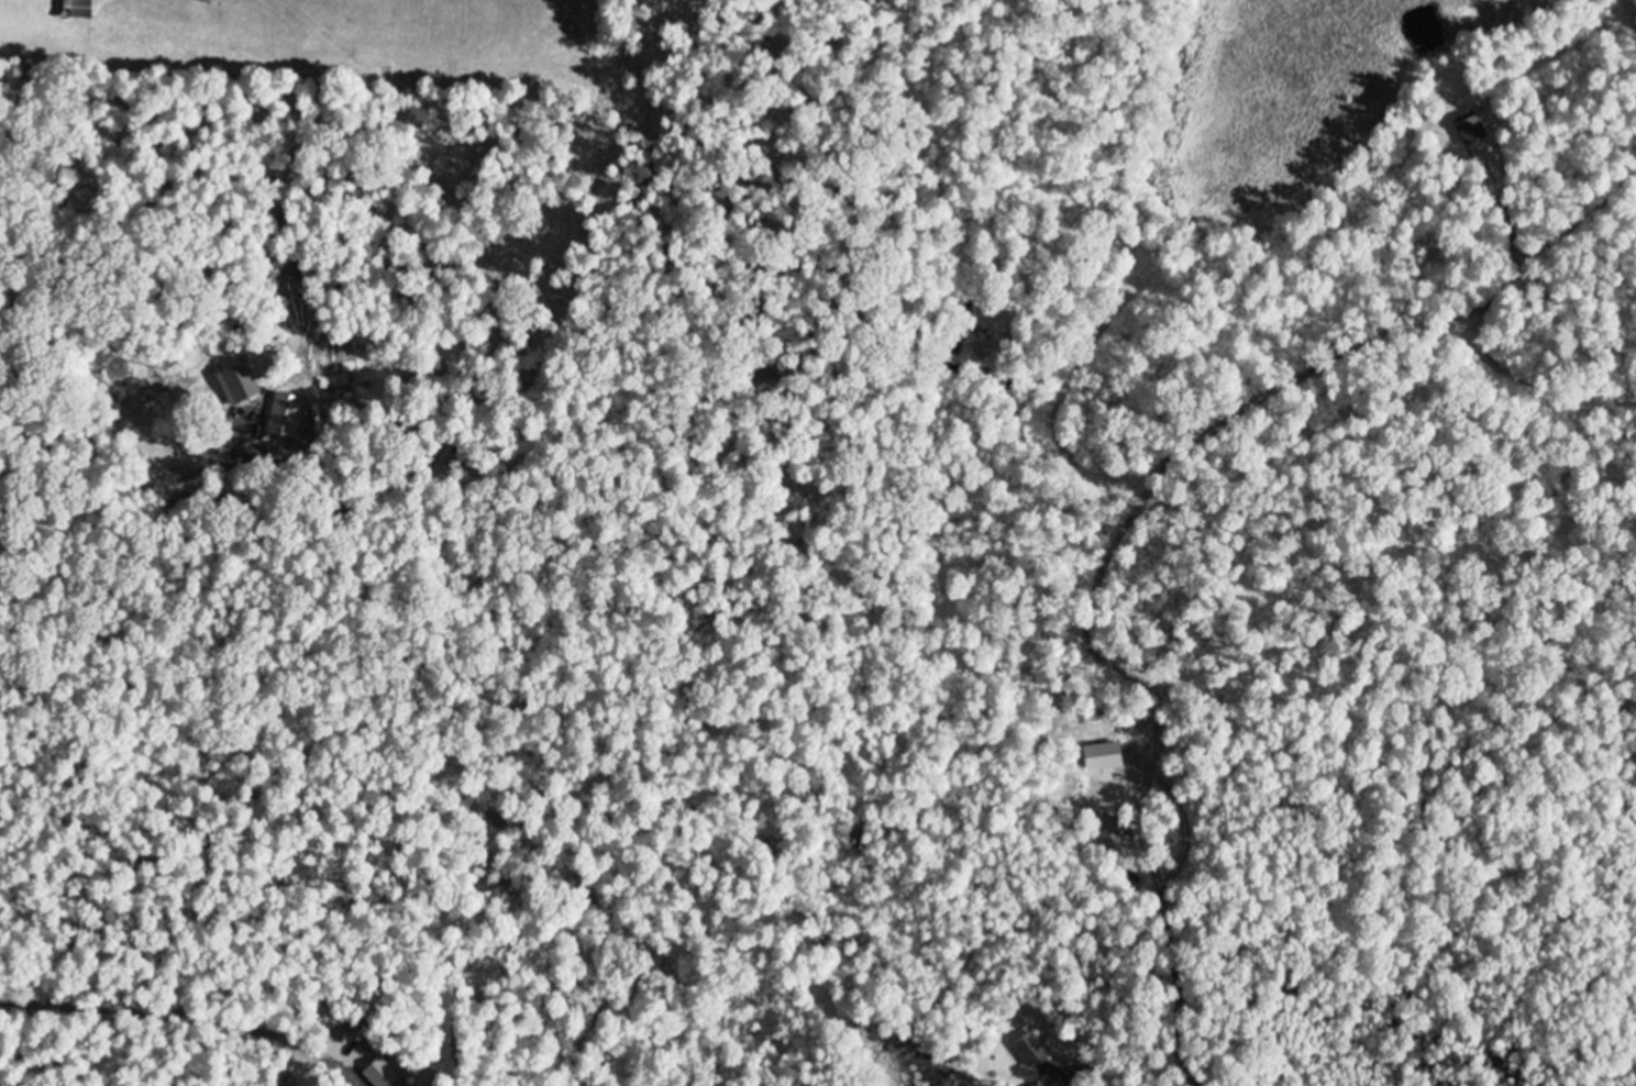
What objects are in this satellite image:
road: (1170, 980)
road: (184, 1016)

